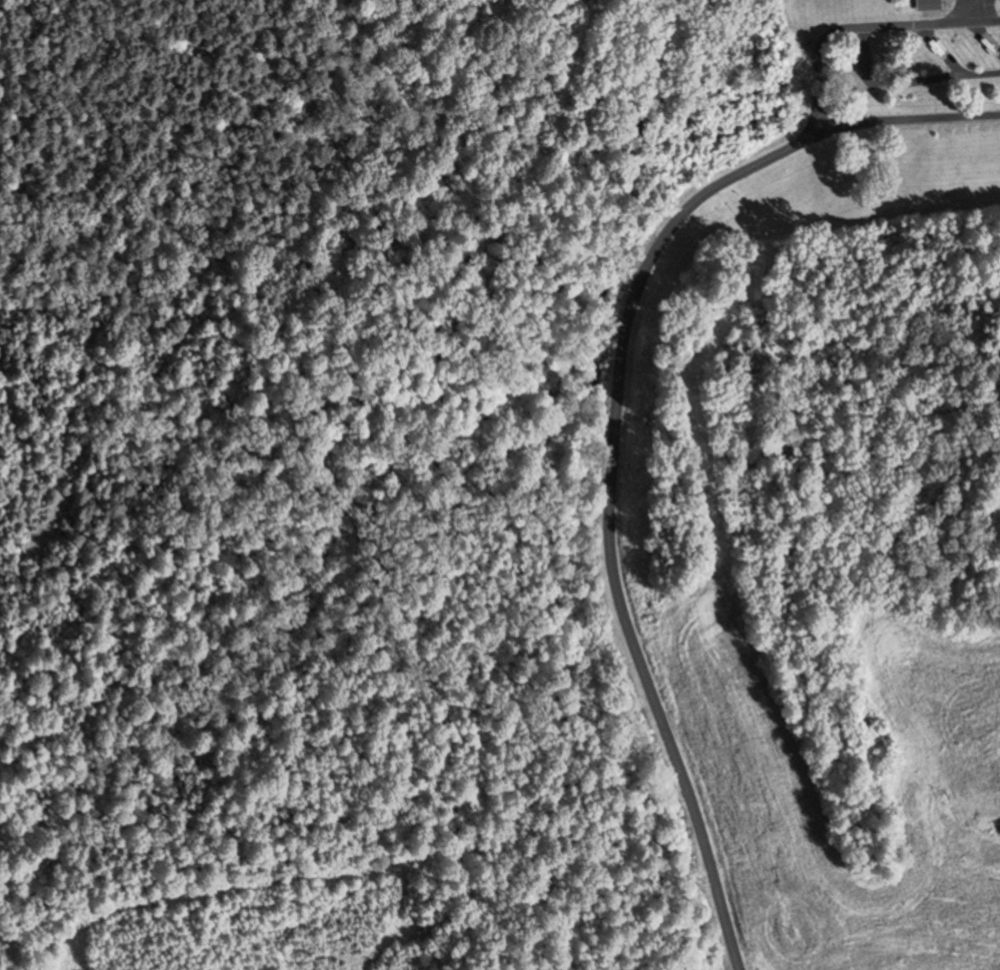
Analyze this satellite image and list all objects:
road: (976, 11)
road: (862, 27)
road: (908, 80)
park: (826, 114)
road: (906, 120)
road: (613, 515)

